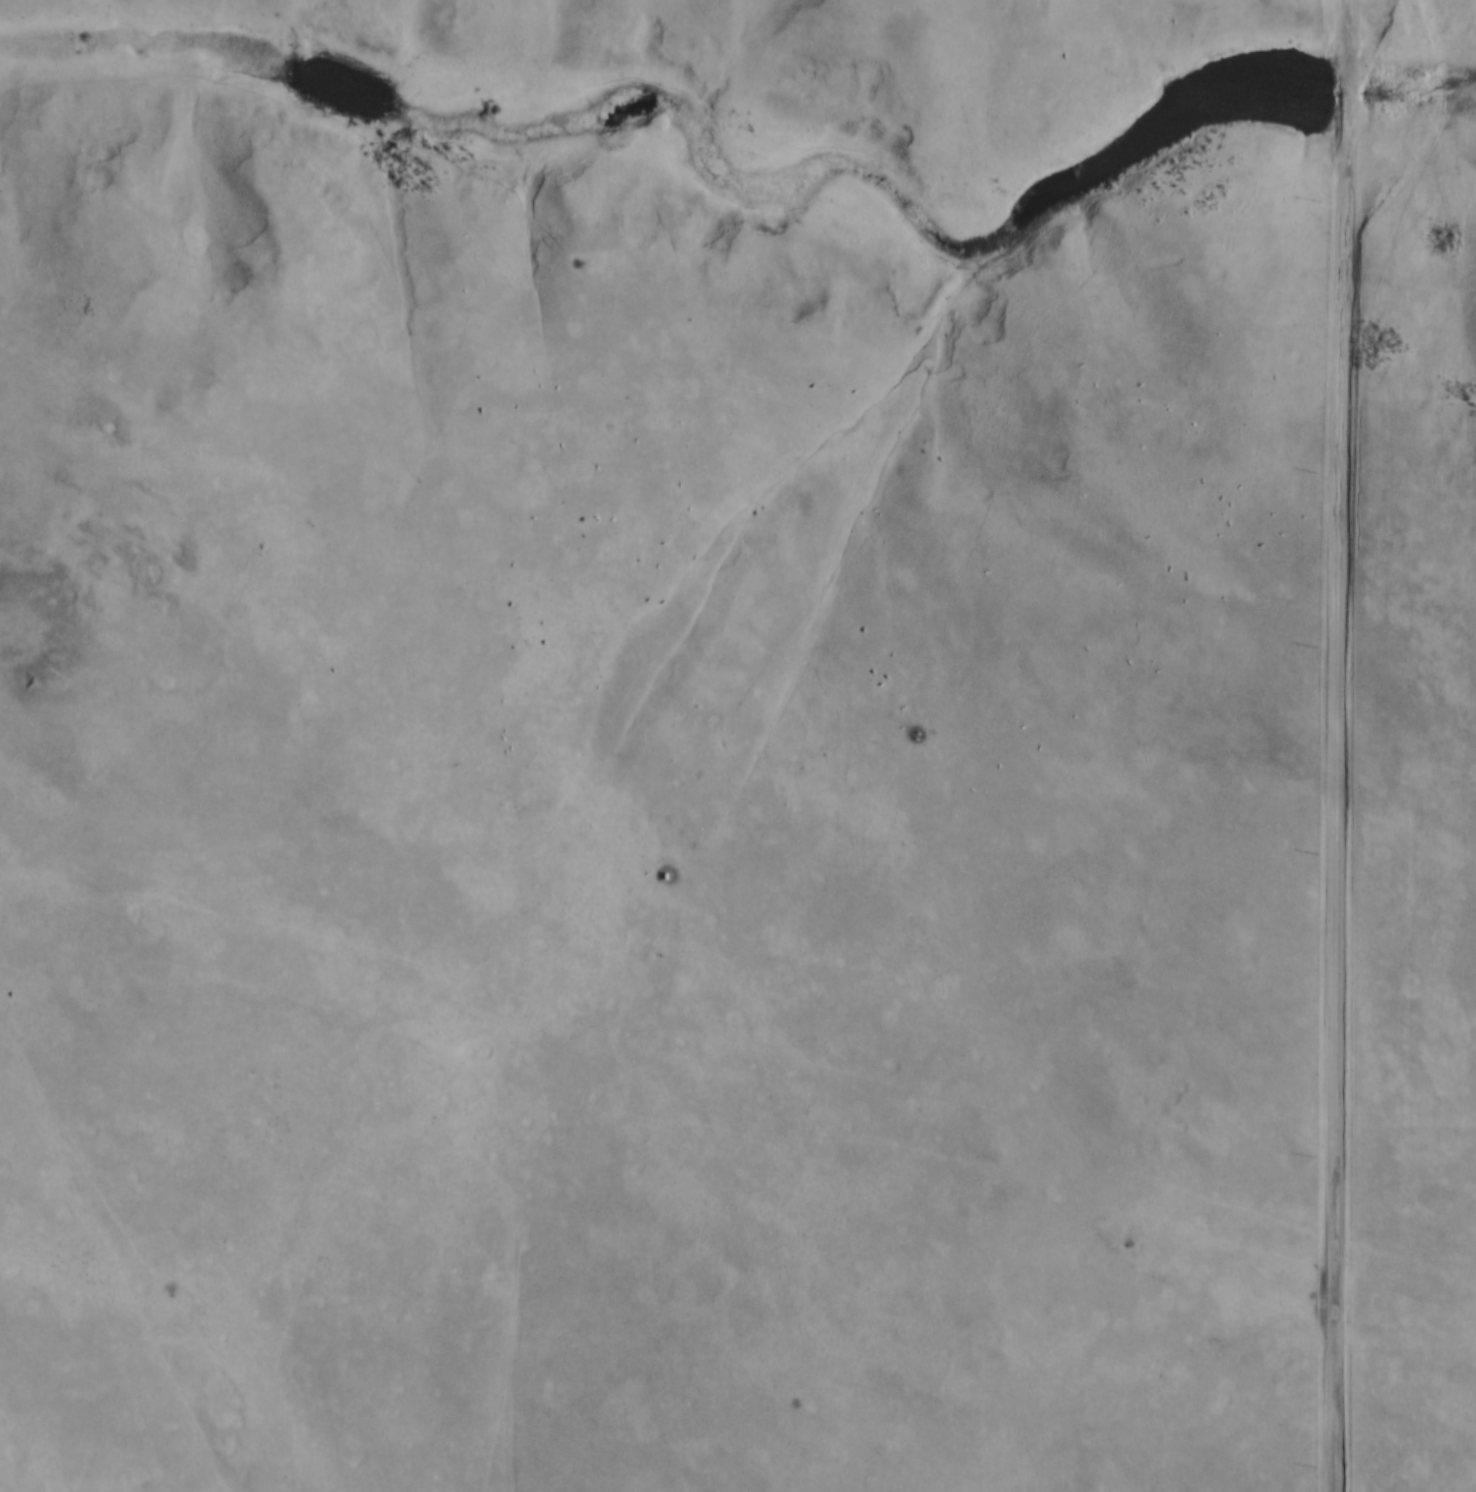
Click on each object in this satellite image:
road: (1340, 745)

